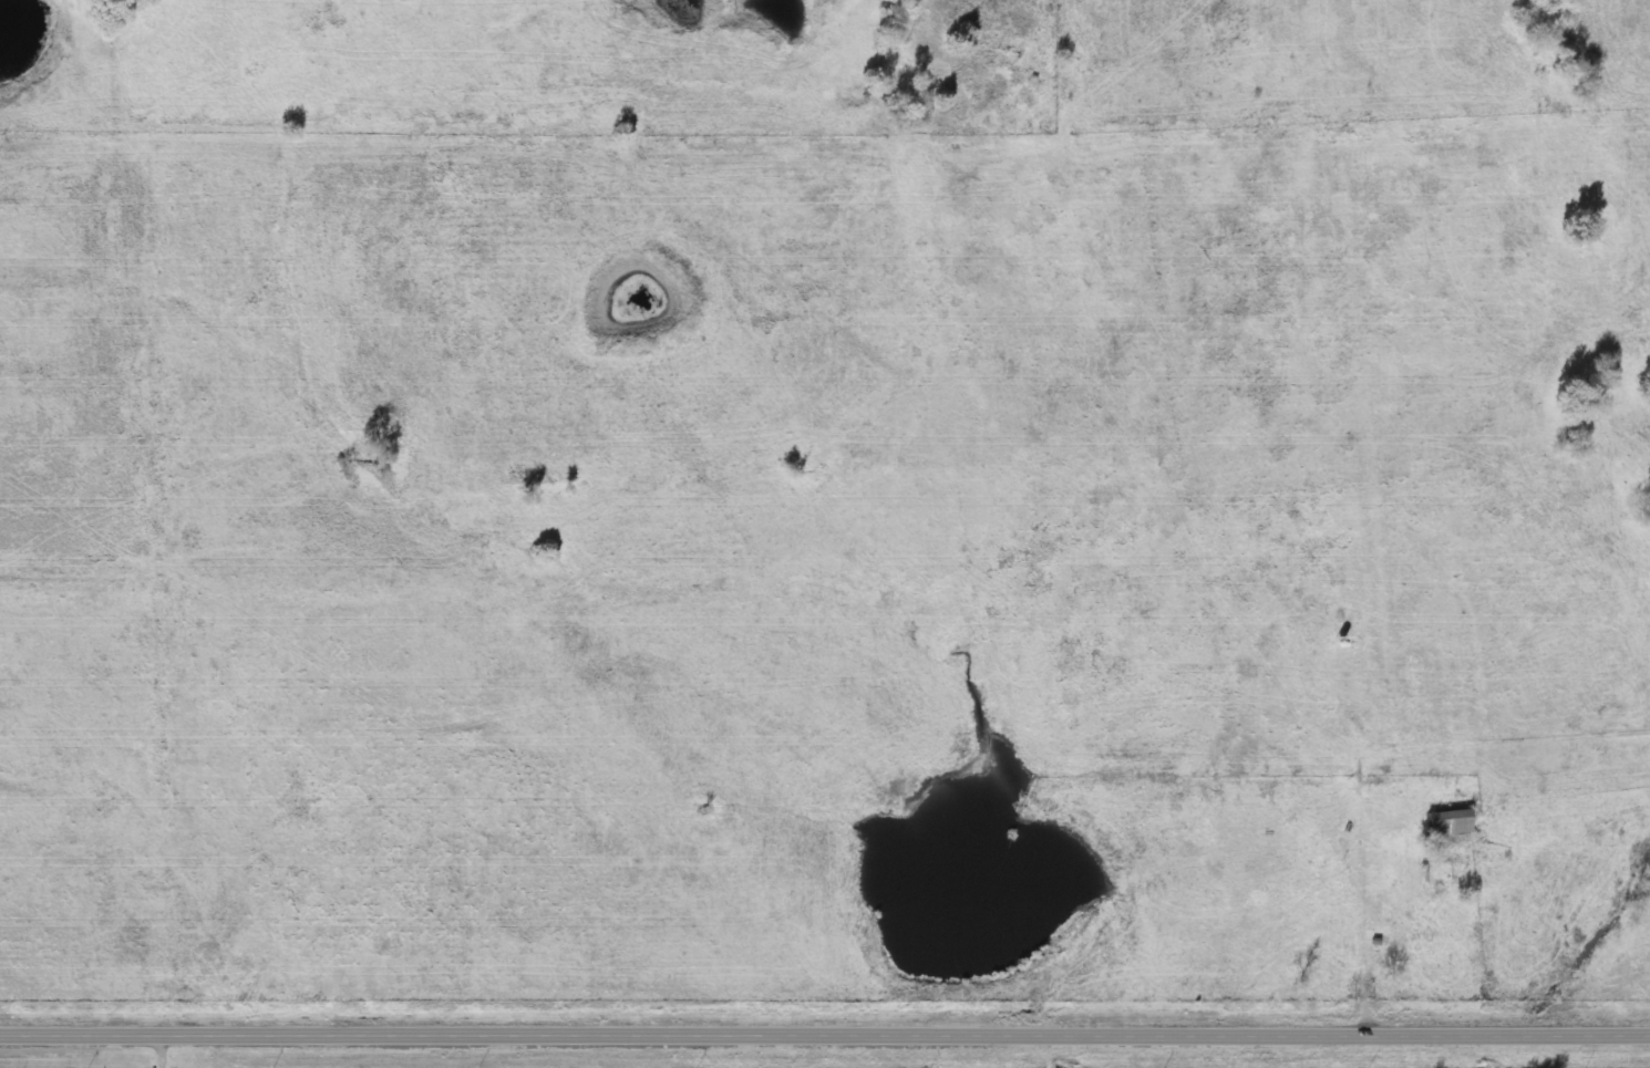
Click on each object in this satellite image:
building: (1446, 823)
road: (1363, 901)
road: (825, 1035)

